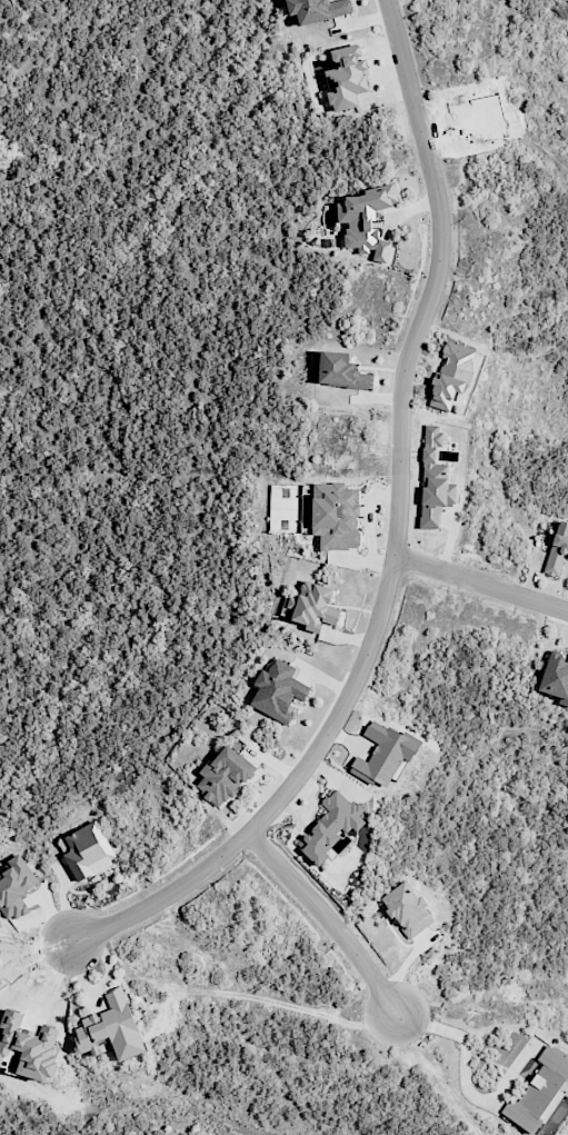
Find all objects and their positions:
building: (318, 9)
building: (346, 77)
building: (367, 220)
building: (341, 371)
building: (452, 375)
building: (435, 481)
building: (336, 515)
road: (396, 535)
building: (558, 549)
road: (481, 584)
building: (313, 606)
building: (555, 678)
building: (278, 690)
building: (383, 754)
building: (225, 775)
building: (331, 826)
building: (89, 850)
building: (16, 887)
building: (408, 908)
road: (327, 916)
building: (426, 938)
building: (109, 1025)
road: (466, 1045)
building: (27, 1047)
building: (540, 1093)

